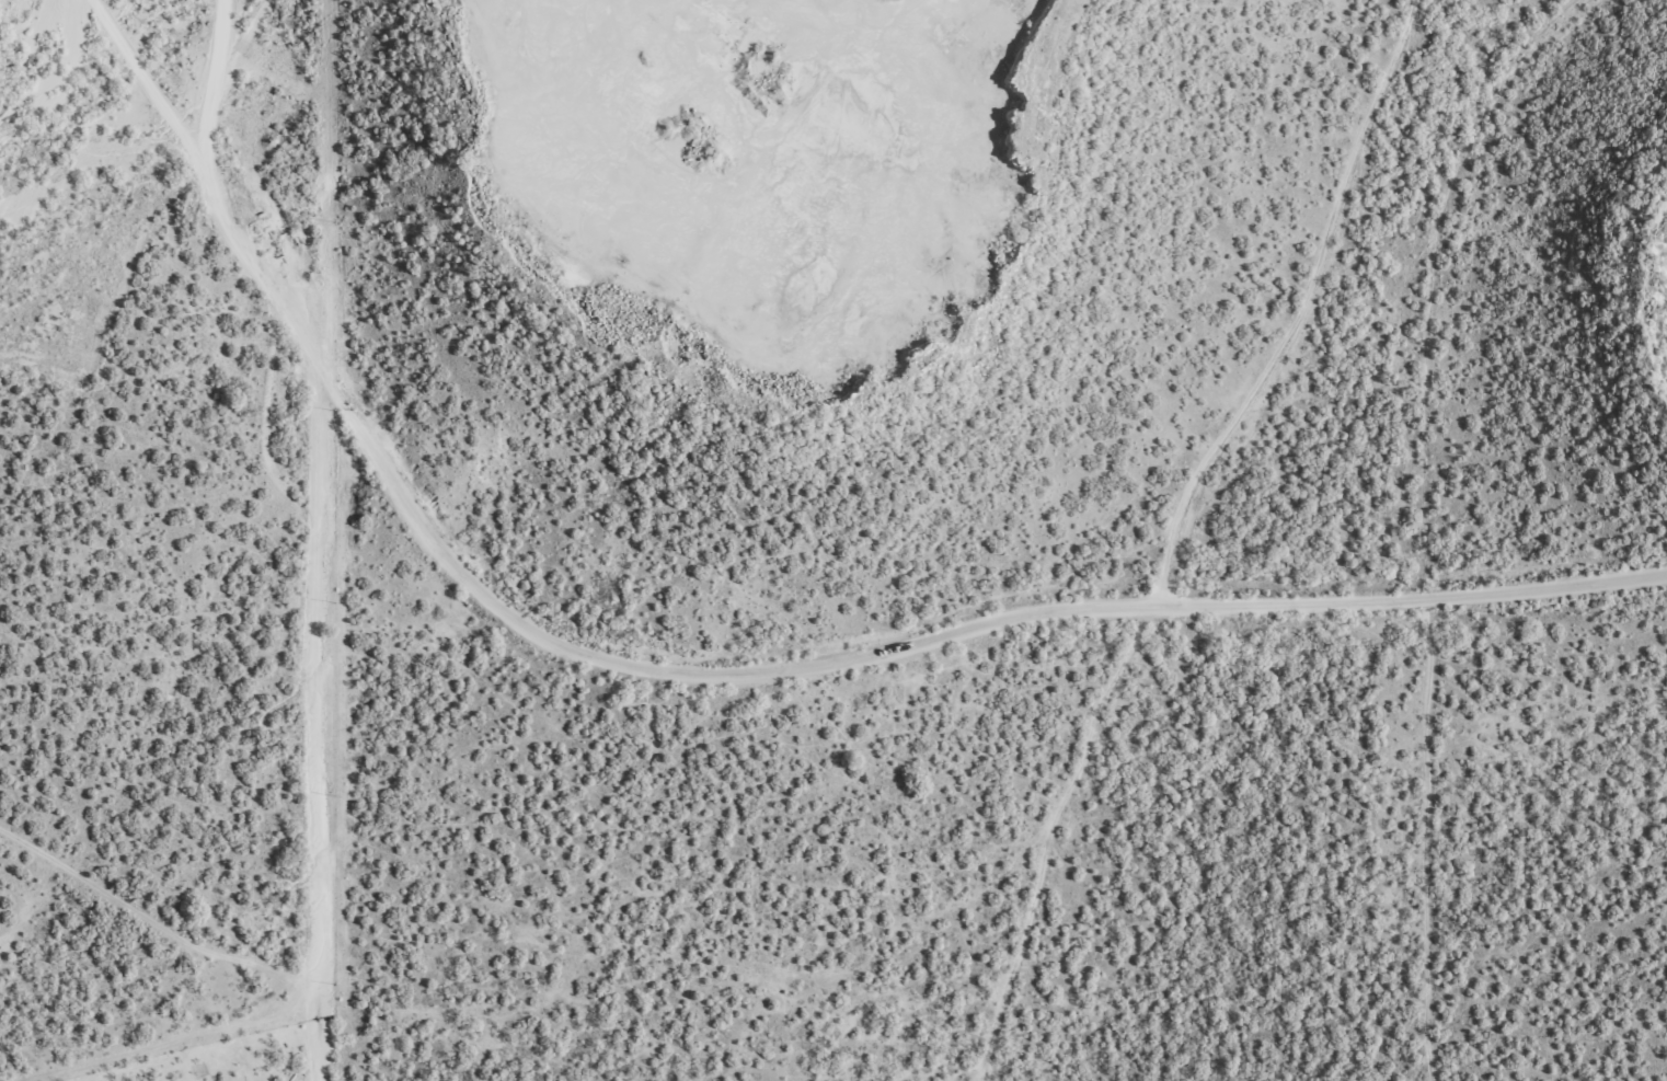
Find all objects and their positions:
road: (1191, 526)
road: (957, 629)

